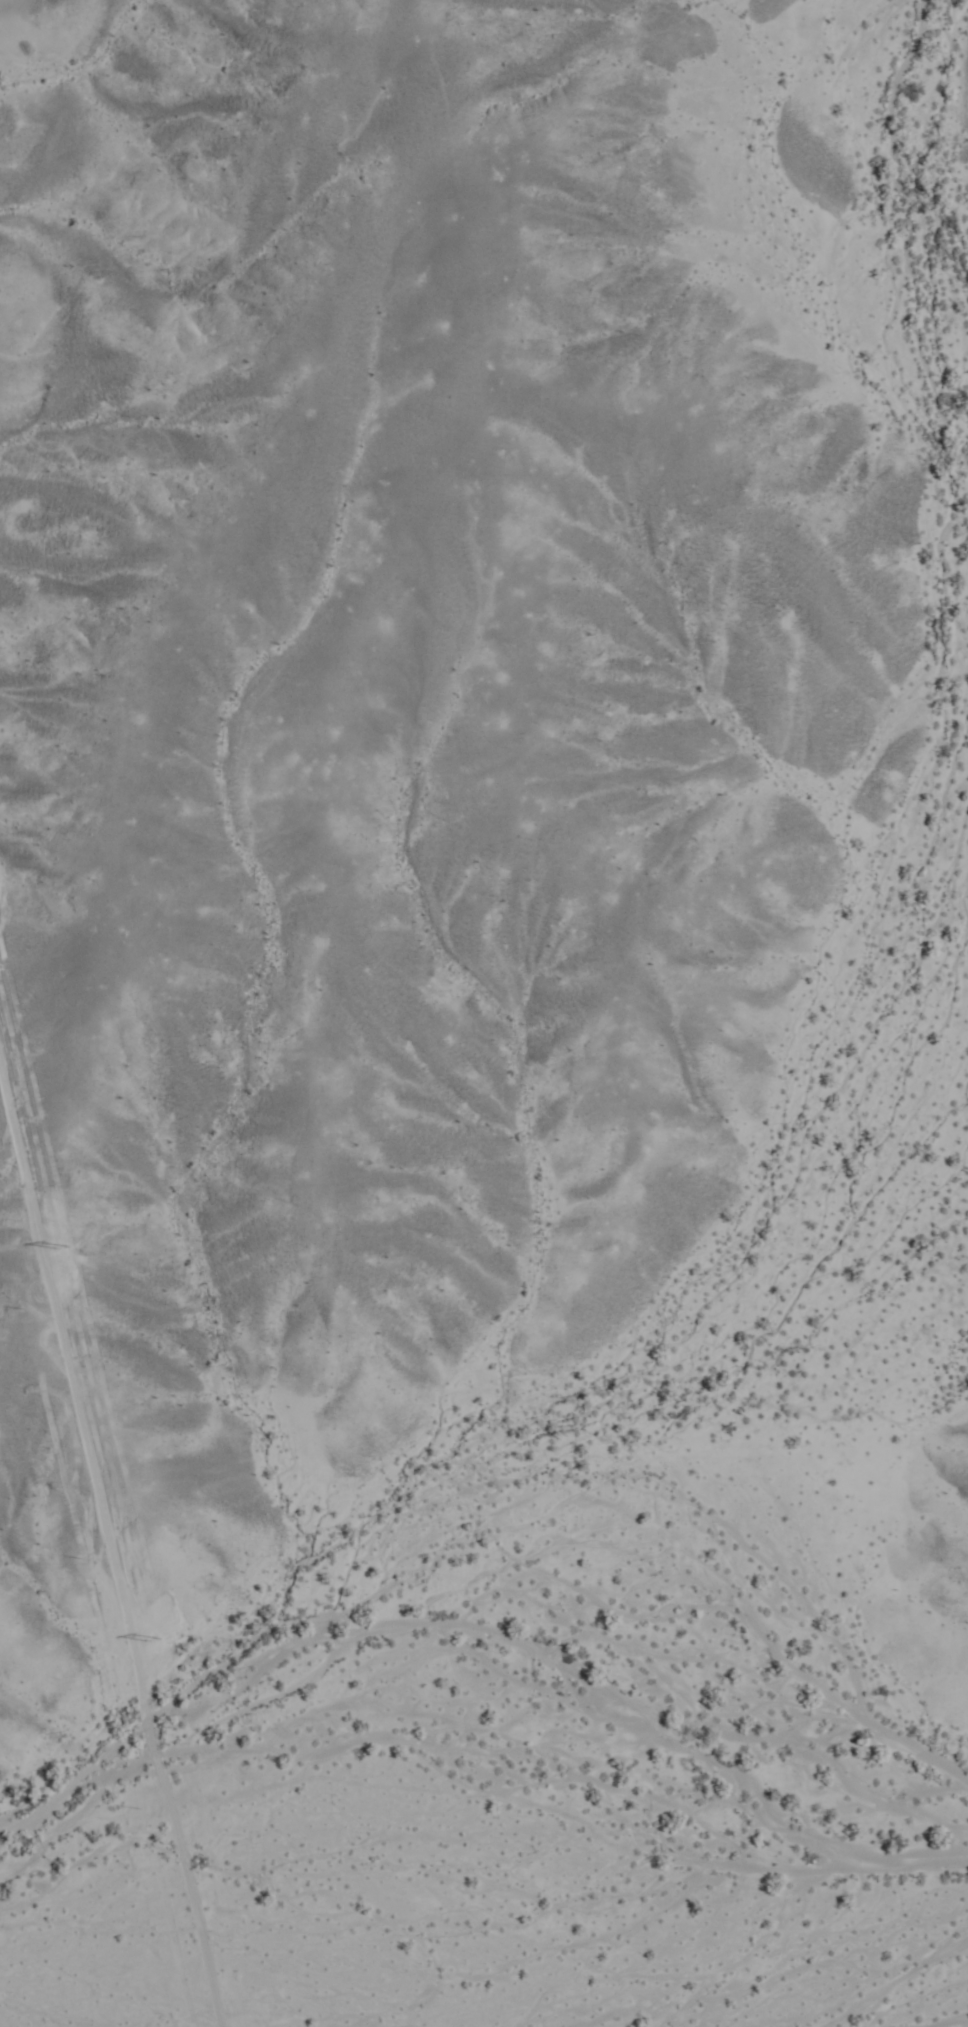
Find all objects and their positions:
power tower: (69, 1250)
power tower: (157, 1641)

